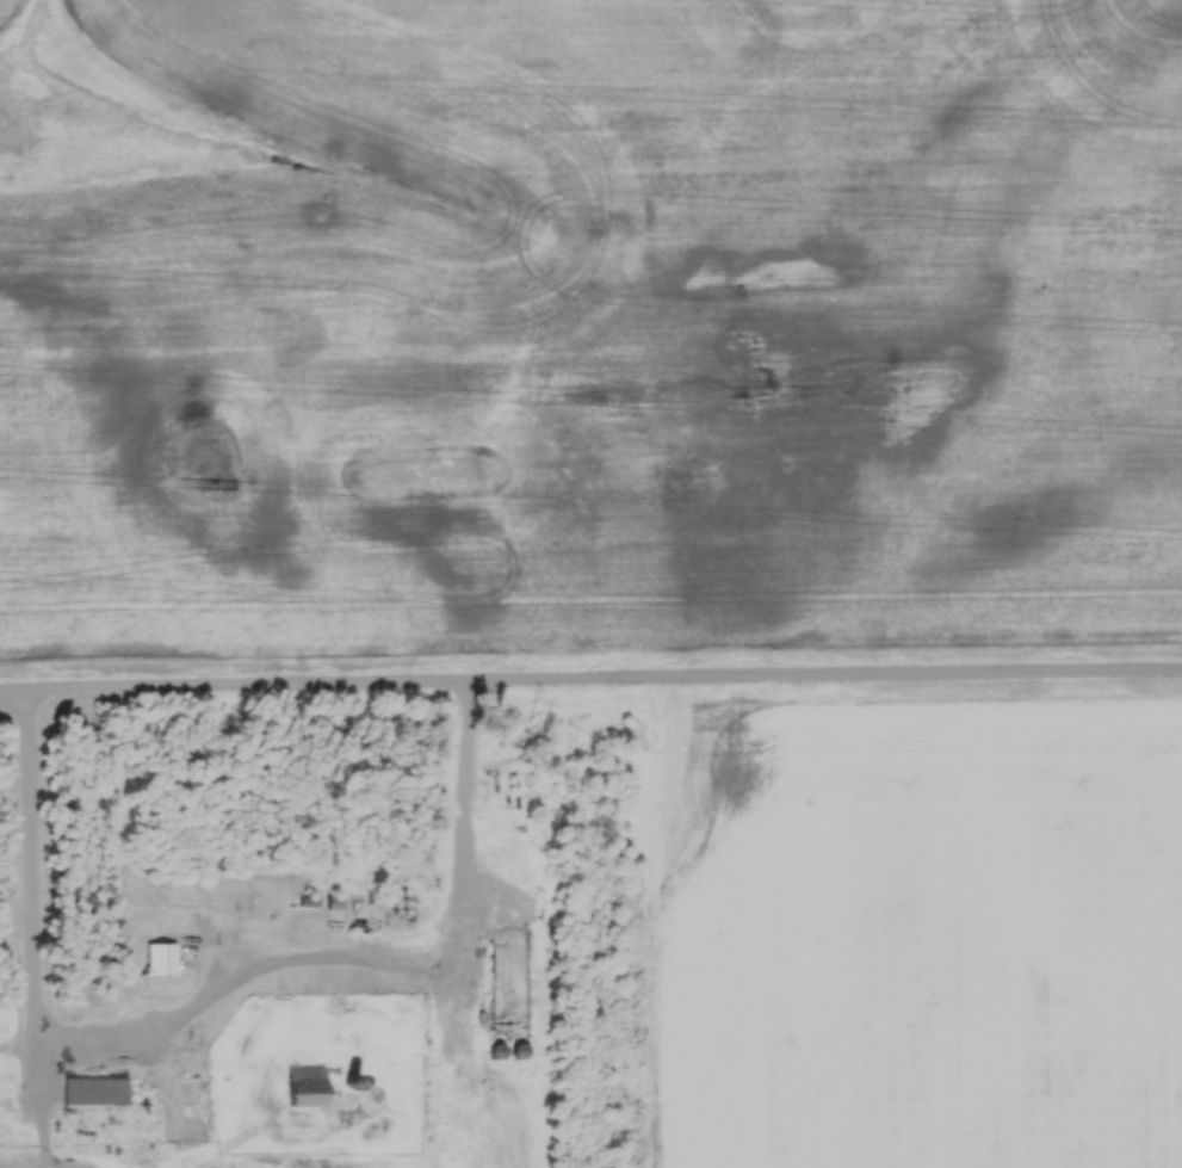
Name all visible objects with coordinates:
road: (590, 675)
building: (499, 953)
building: (160, 957)
building: (303, 1084)
building: (93, 1092)

